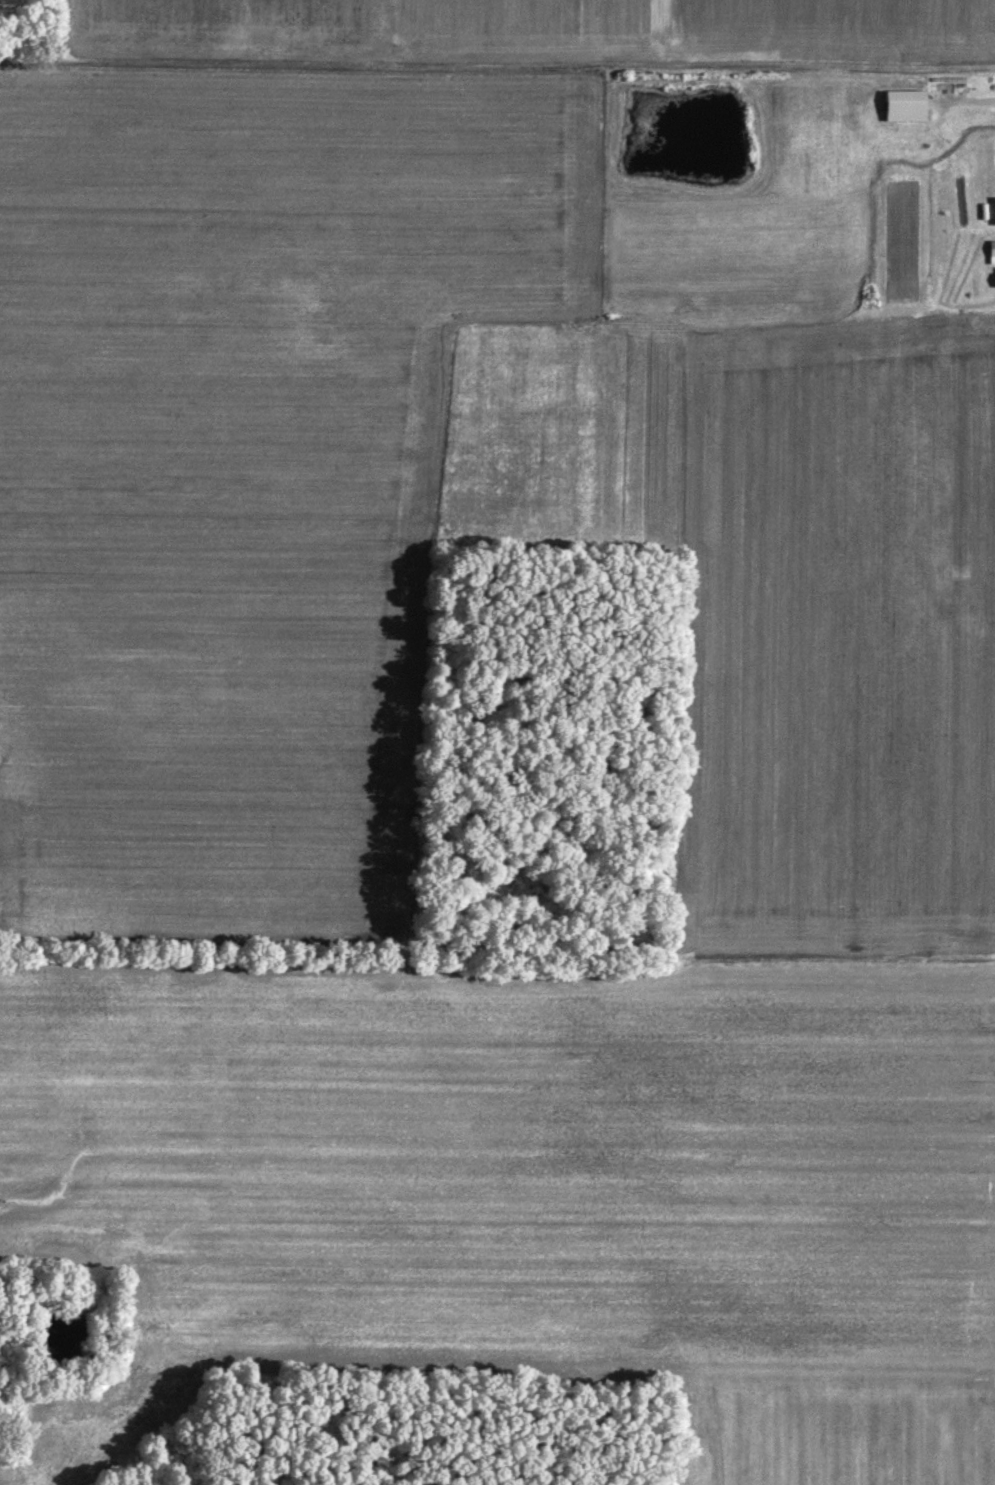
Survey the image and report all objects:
building: (899, 110)
building: (991, 215)
building: (989, 256)

